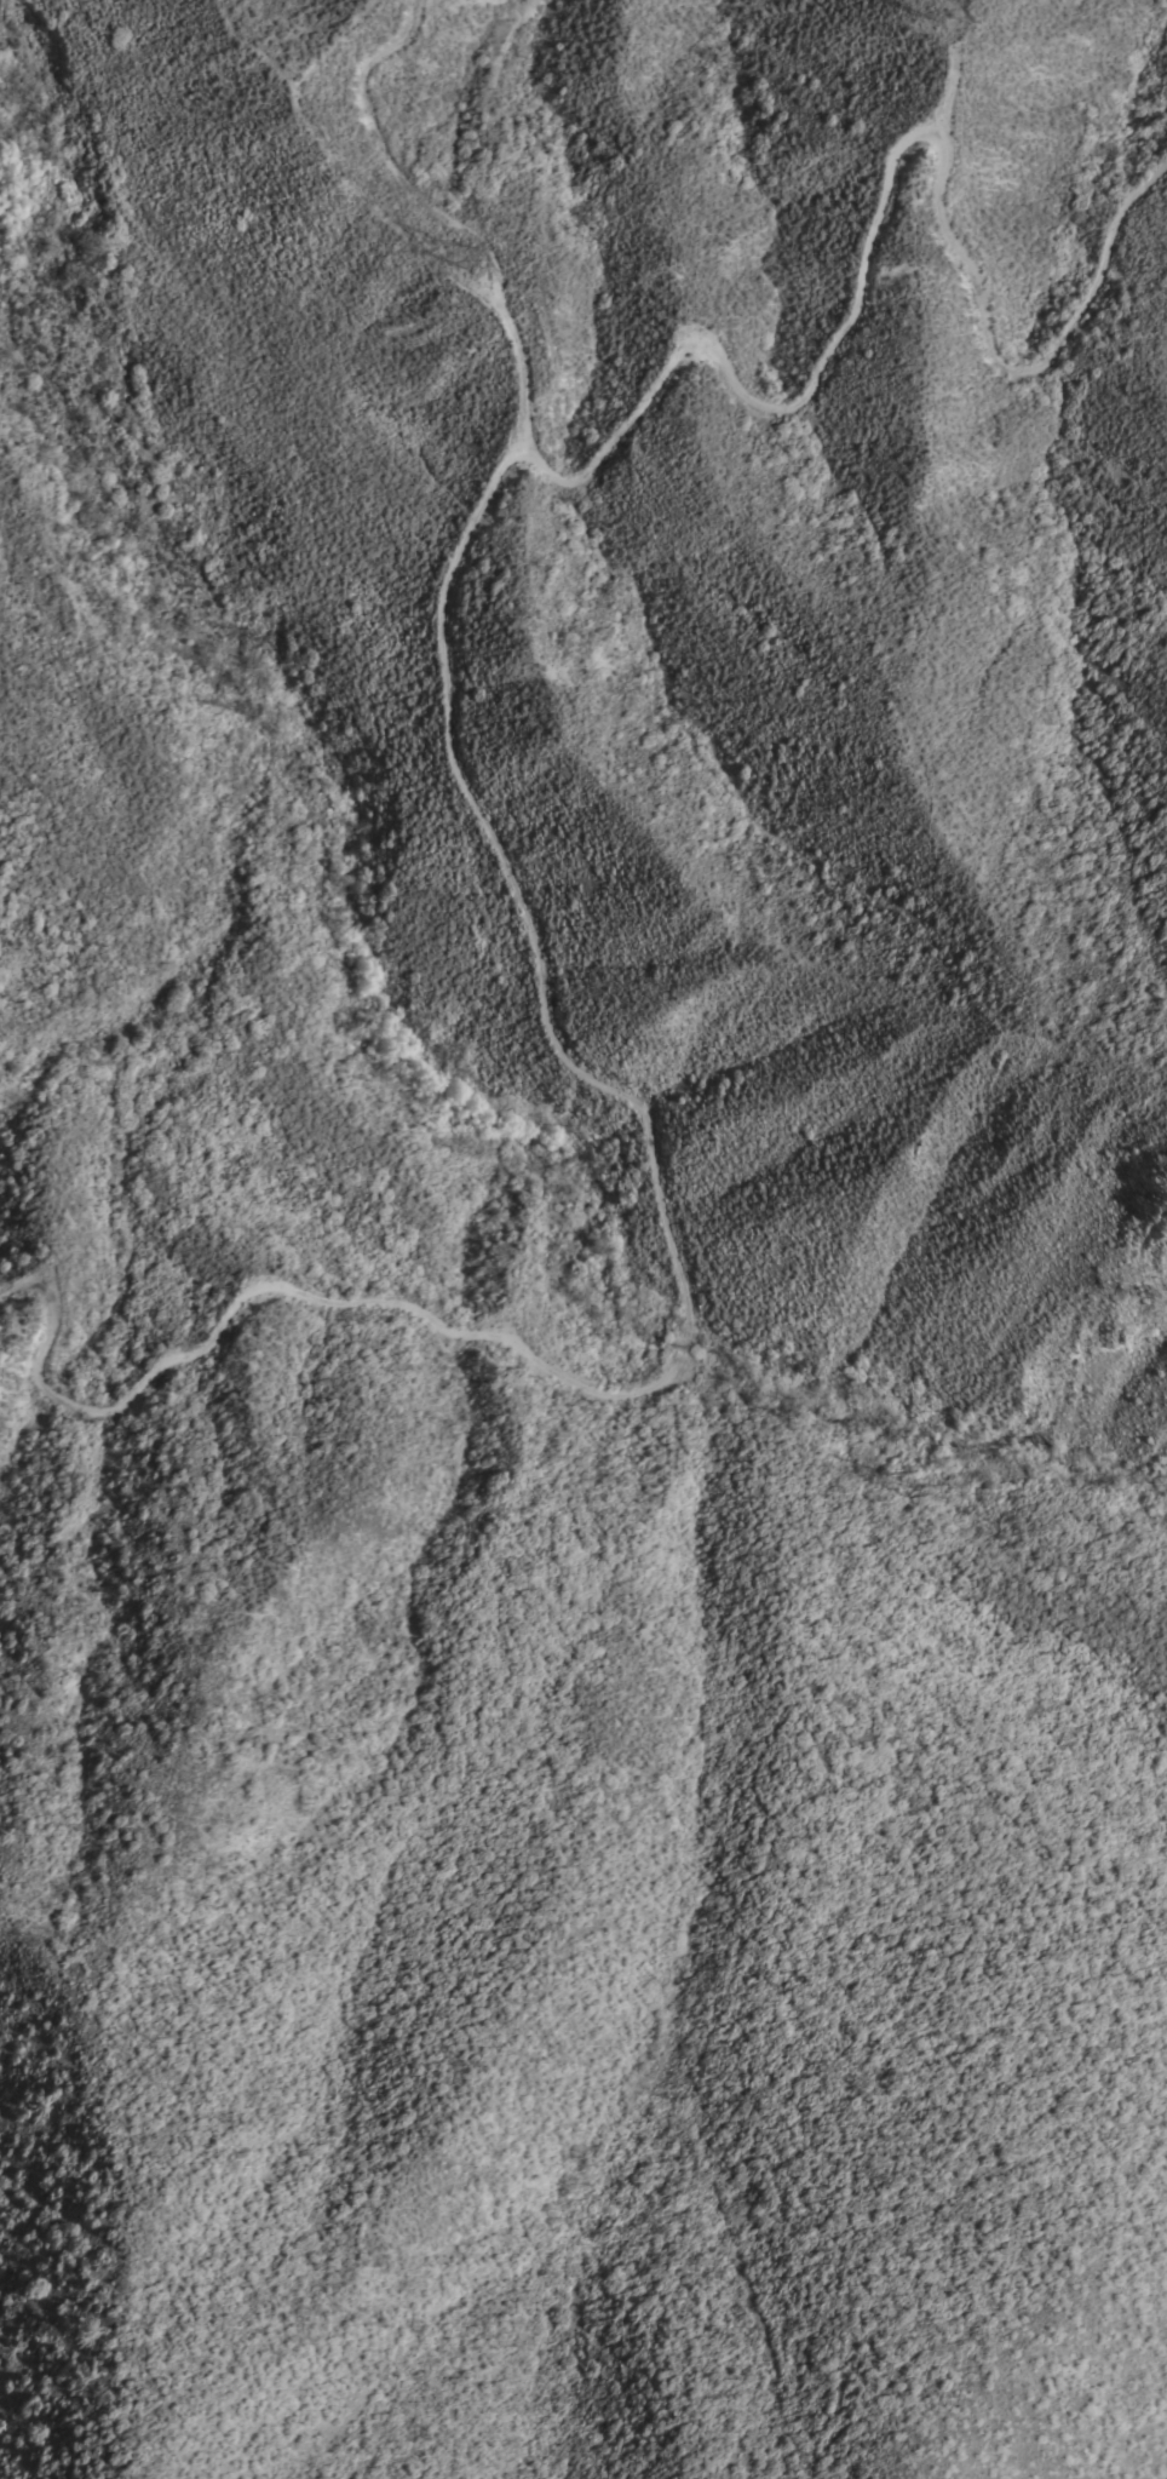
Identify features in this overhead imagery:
road: (948, 73)
road: (884, 180)
road: (465, 217)
power tower: (460, 243)
road: (686, 1295)

